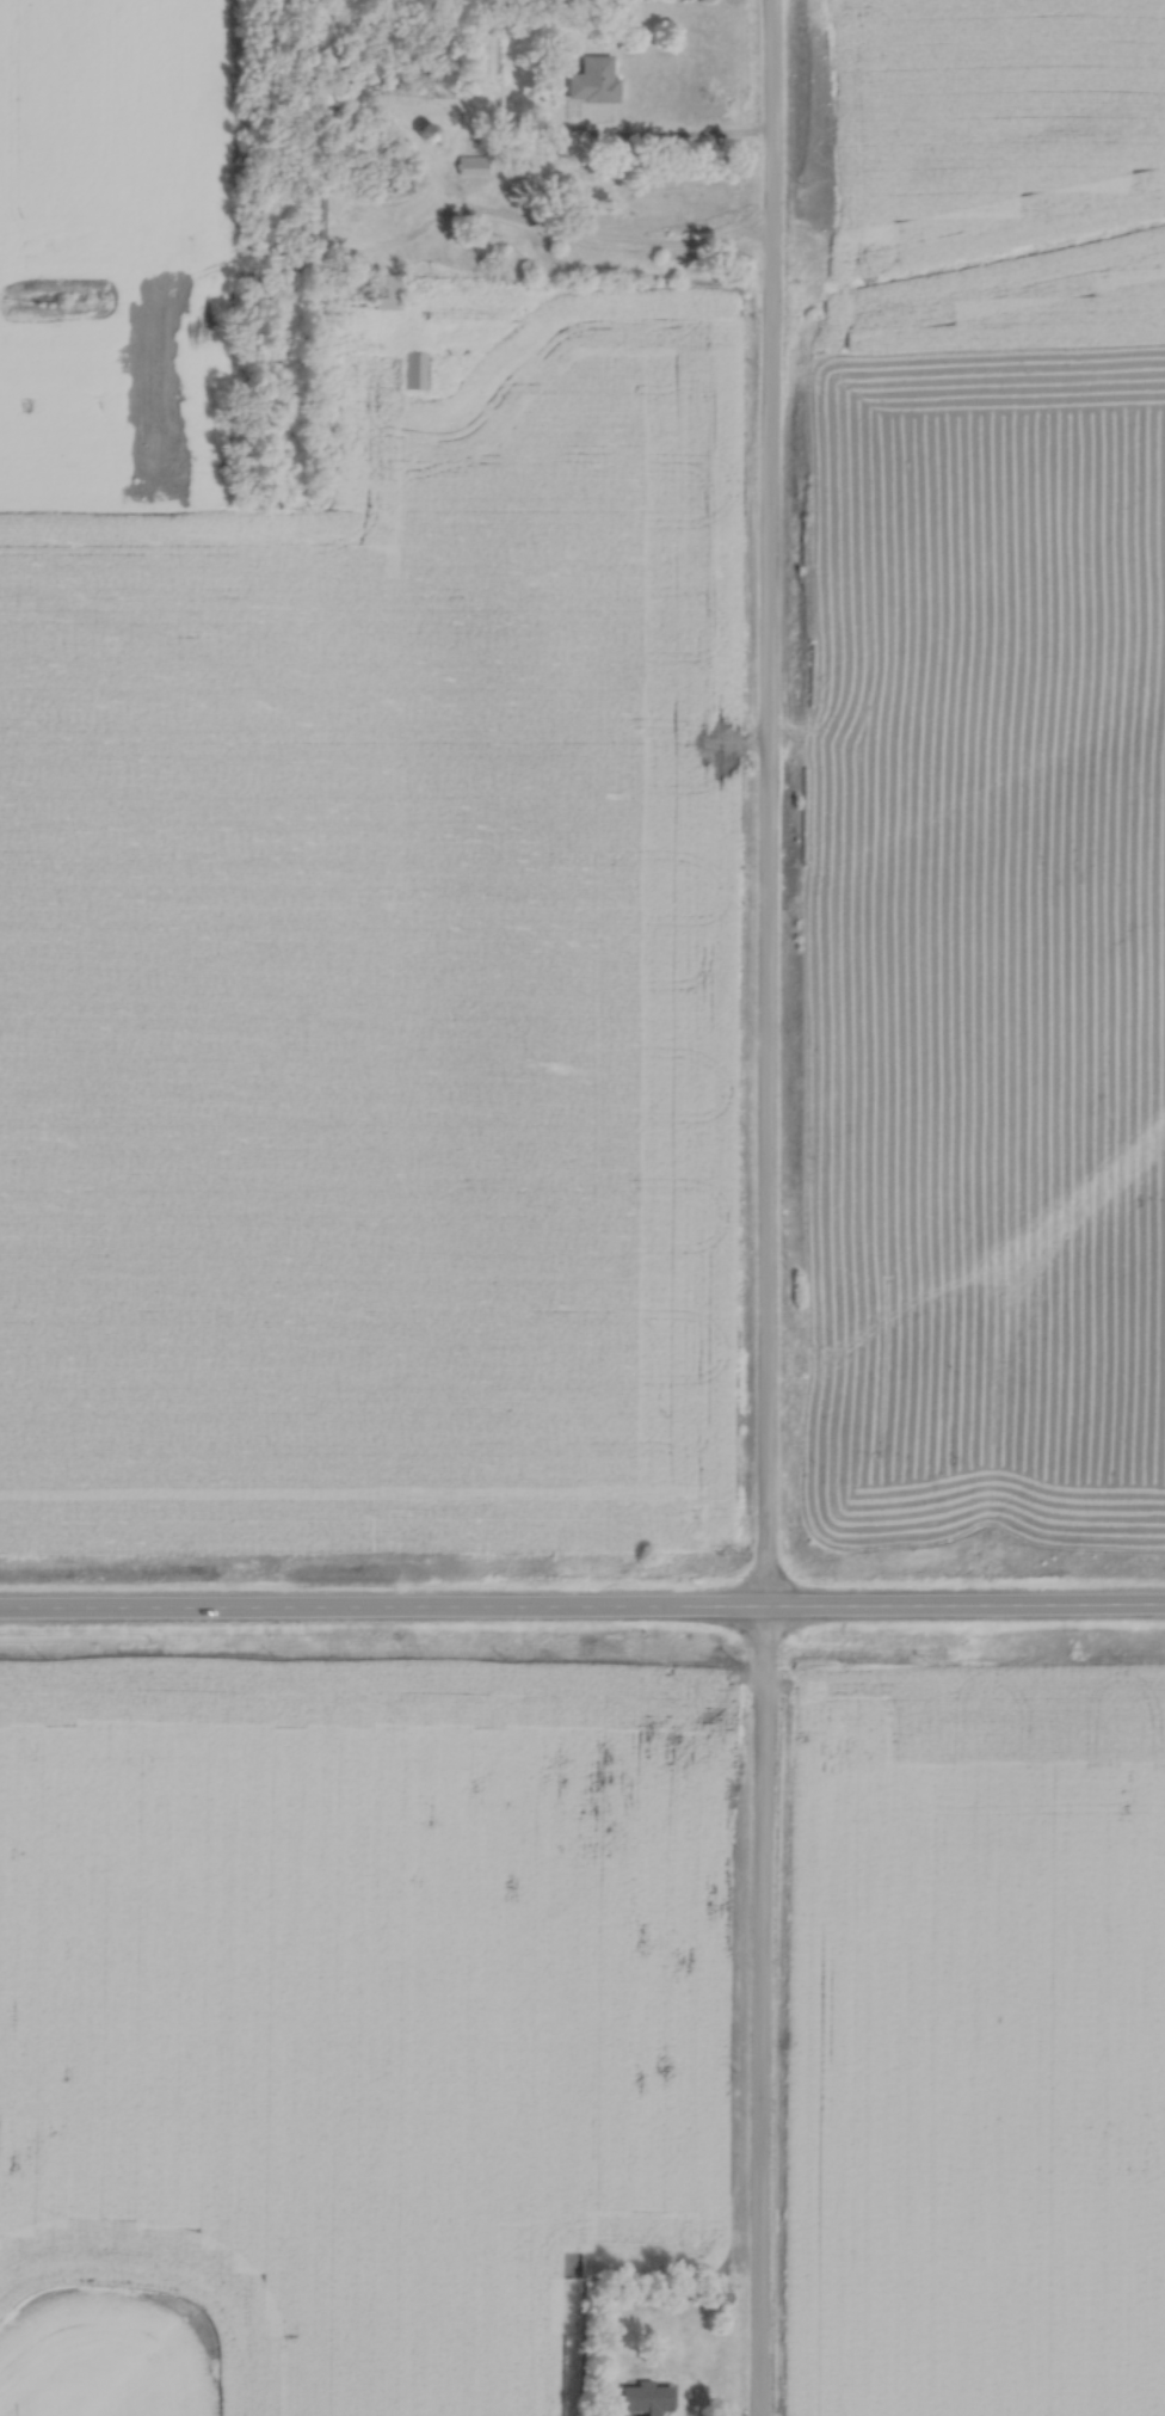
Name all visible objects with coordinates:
building: (480, 56)
building: (438, 76)
building: (591, 76)
building: (424, 128)
road: (683, 140)
building: (470, 161)
building: (313, 211)
road: (572, 242)
building: (382, 287)
building: (413, 365)
road: (764, 1207)
road: (582, 1612)
building: (643, 2395)

